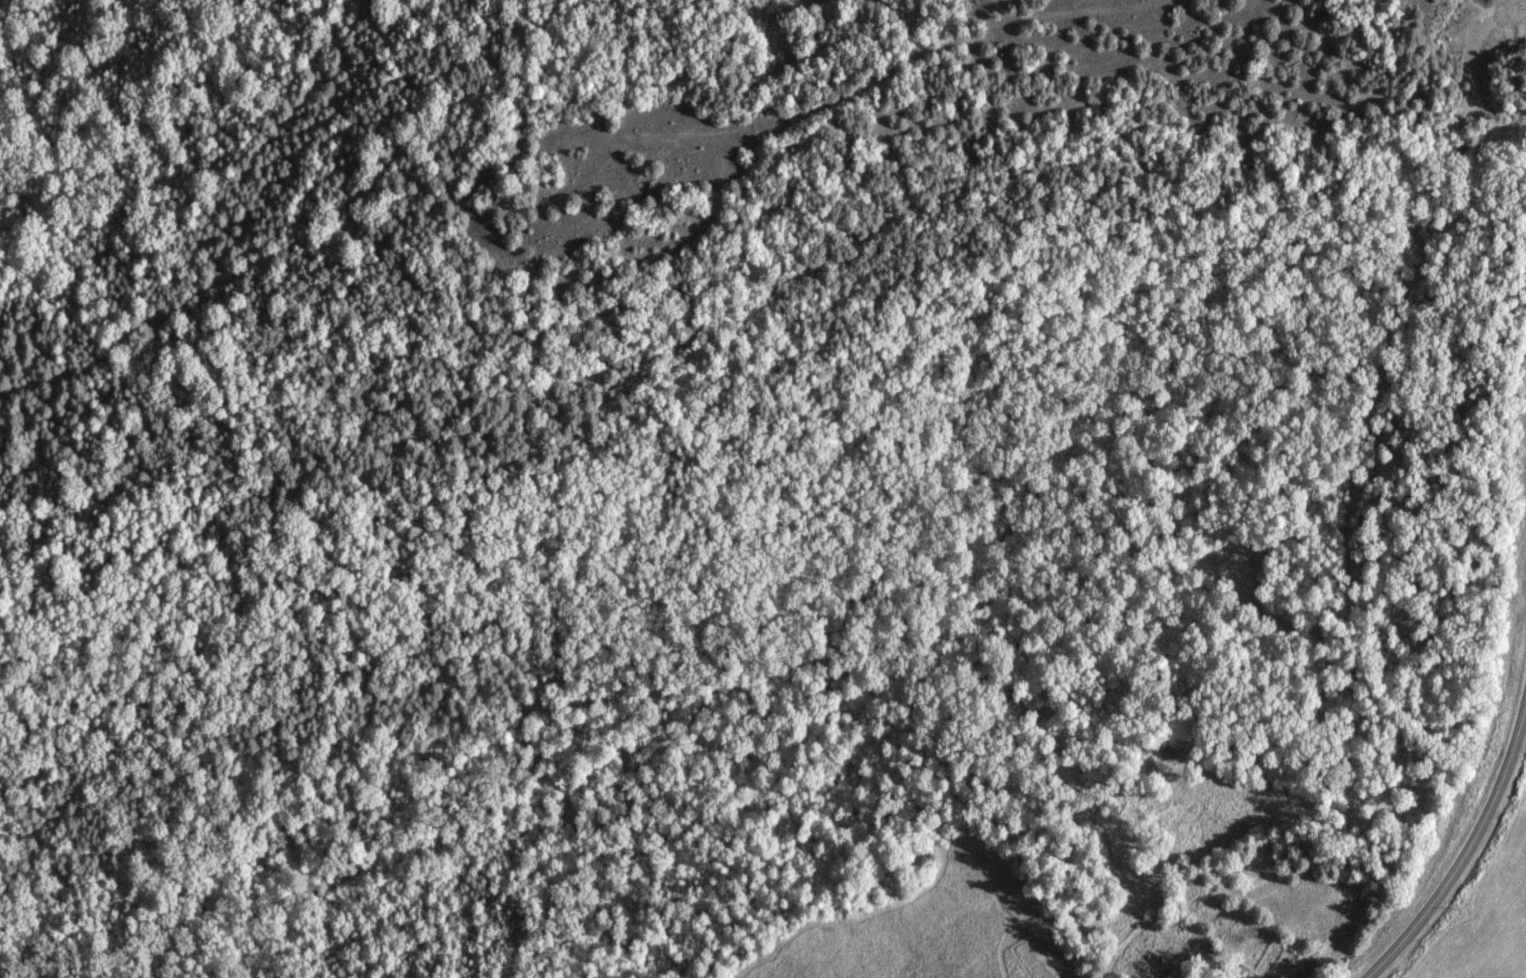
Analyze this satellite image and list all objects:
road: (1476, 740)

